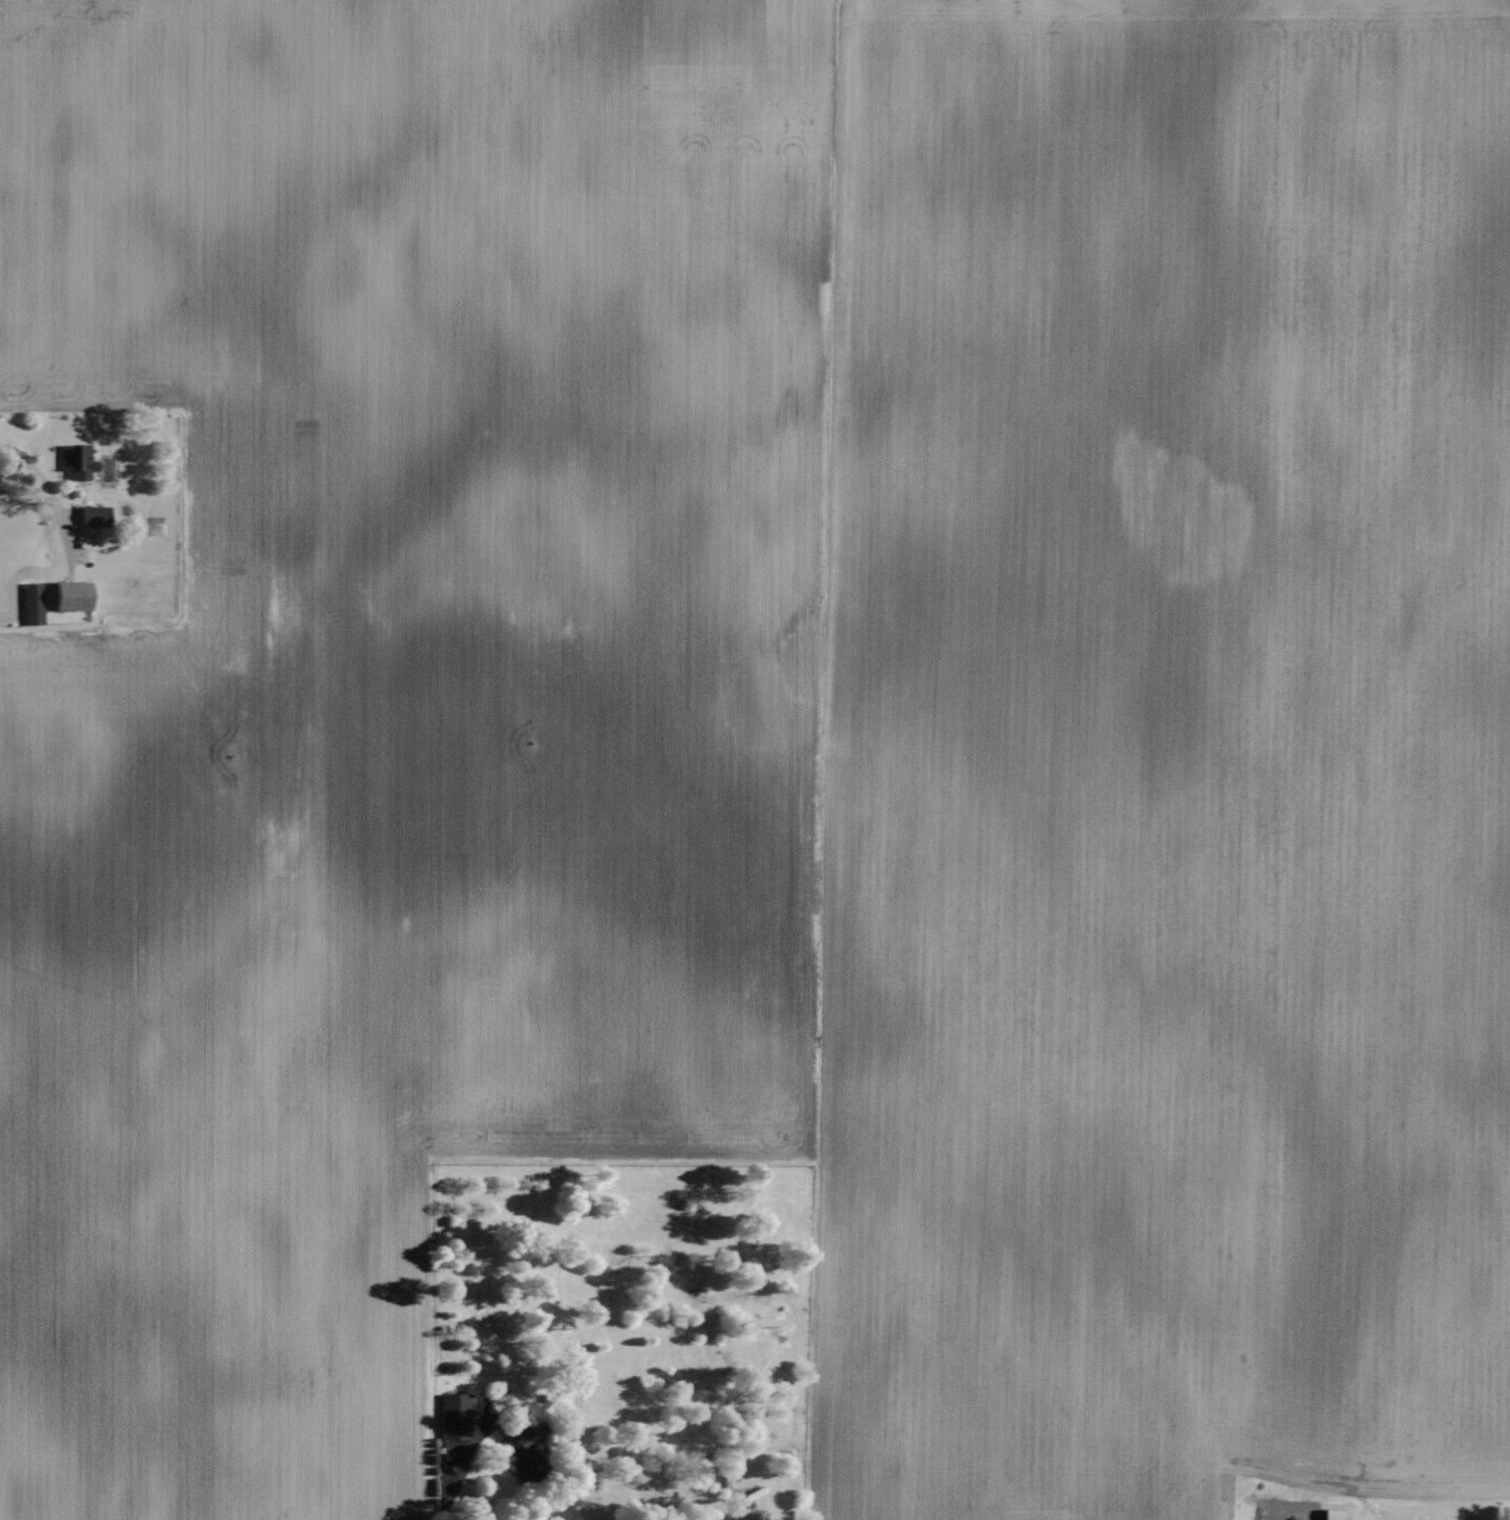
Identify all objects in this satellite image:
building: (81, 460)
road: (38, 474)
building: (97, 514)
building: (75, 594)
building: (34, 603)
building: (456, 1416)
building: (524, 1453)
road: (458, 1462)
building: (1338, 1514)
road: (736, 1518)

